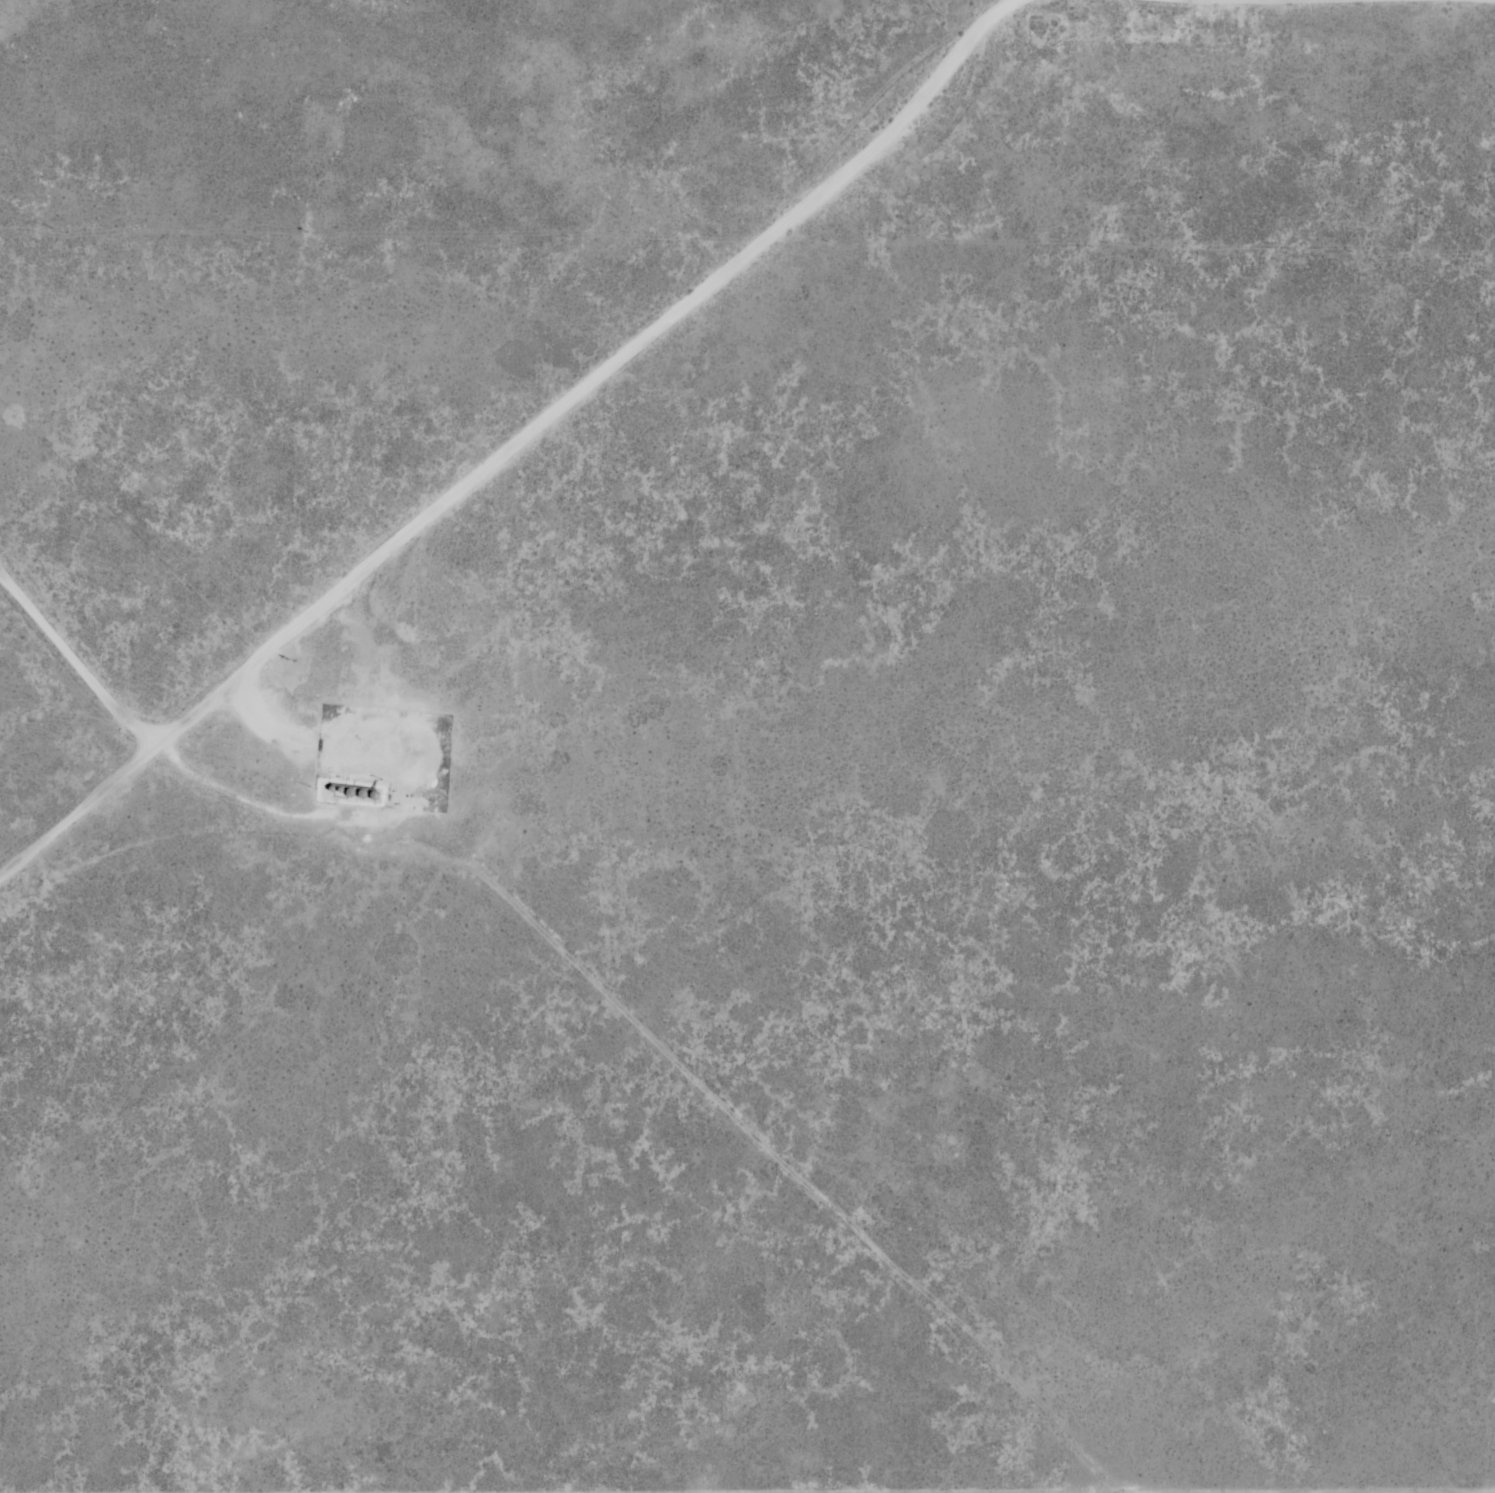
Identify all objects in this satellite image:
road: (514, 446)
road: (78, 662)
road: (279, 713)

